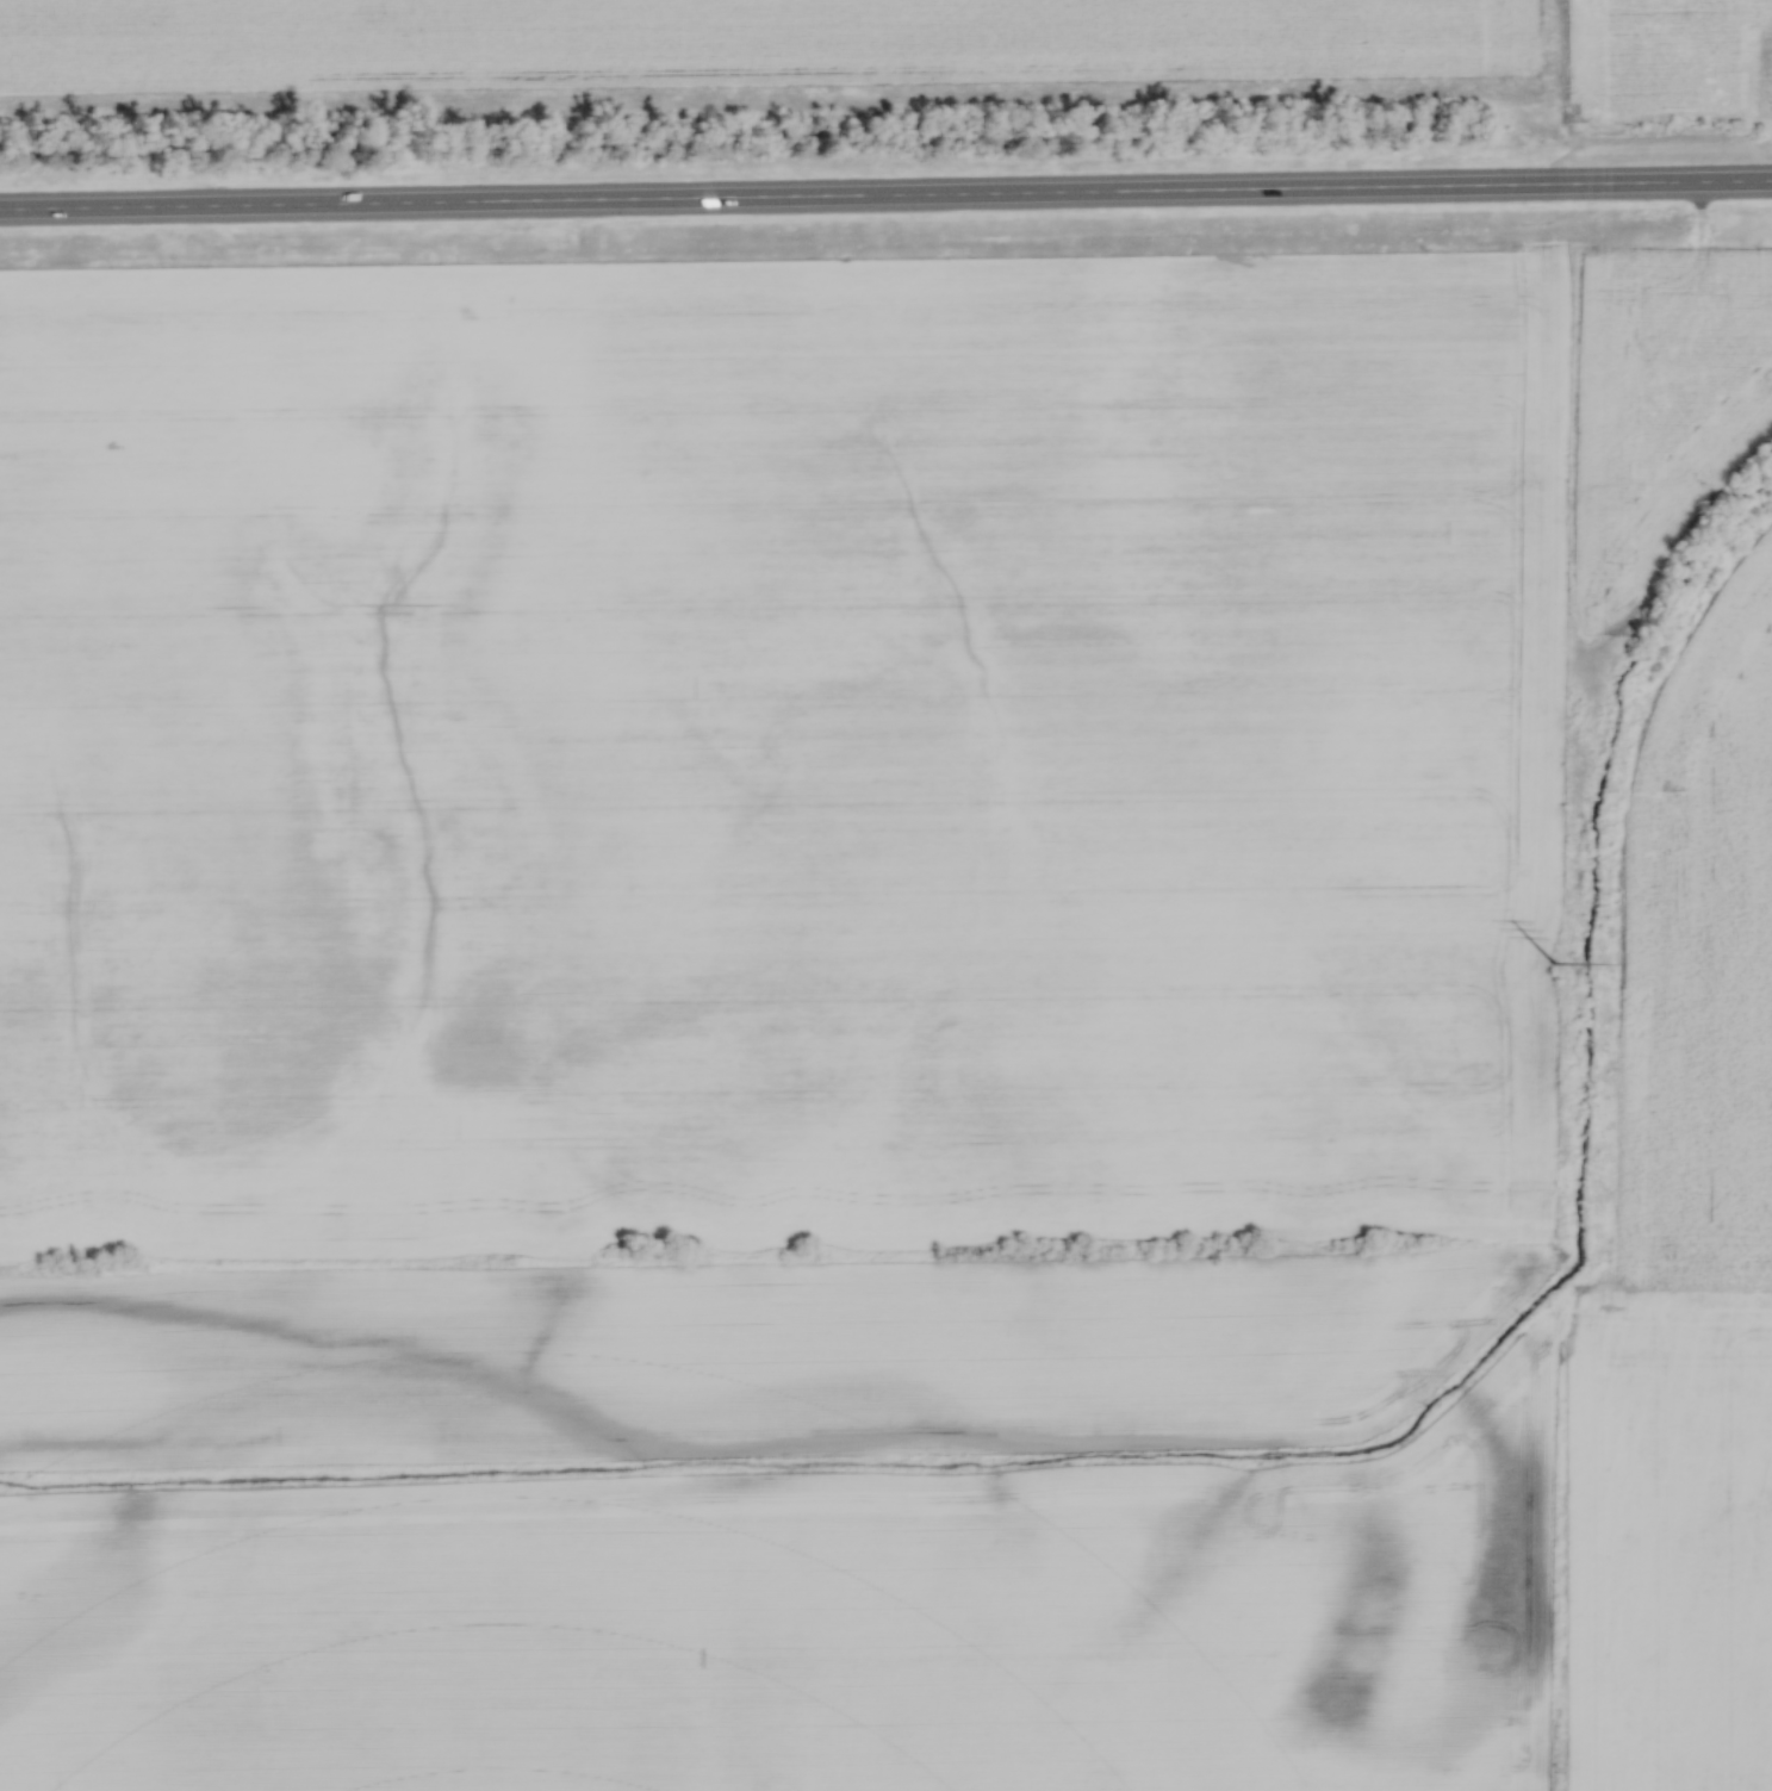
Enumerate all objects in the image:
road: (885, 195)
power tower: (1553, 963)

